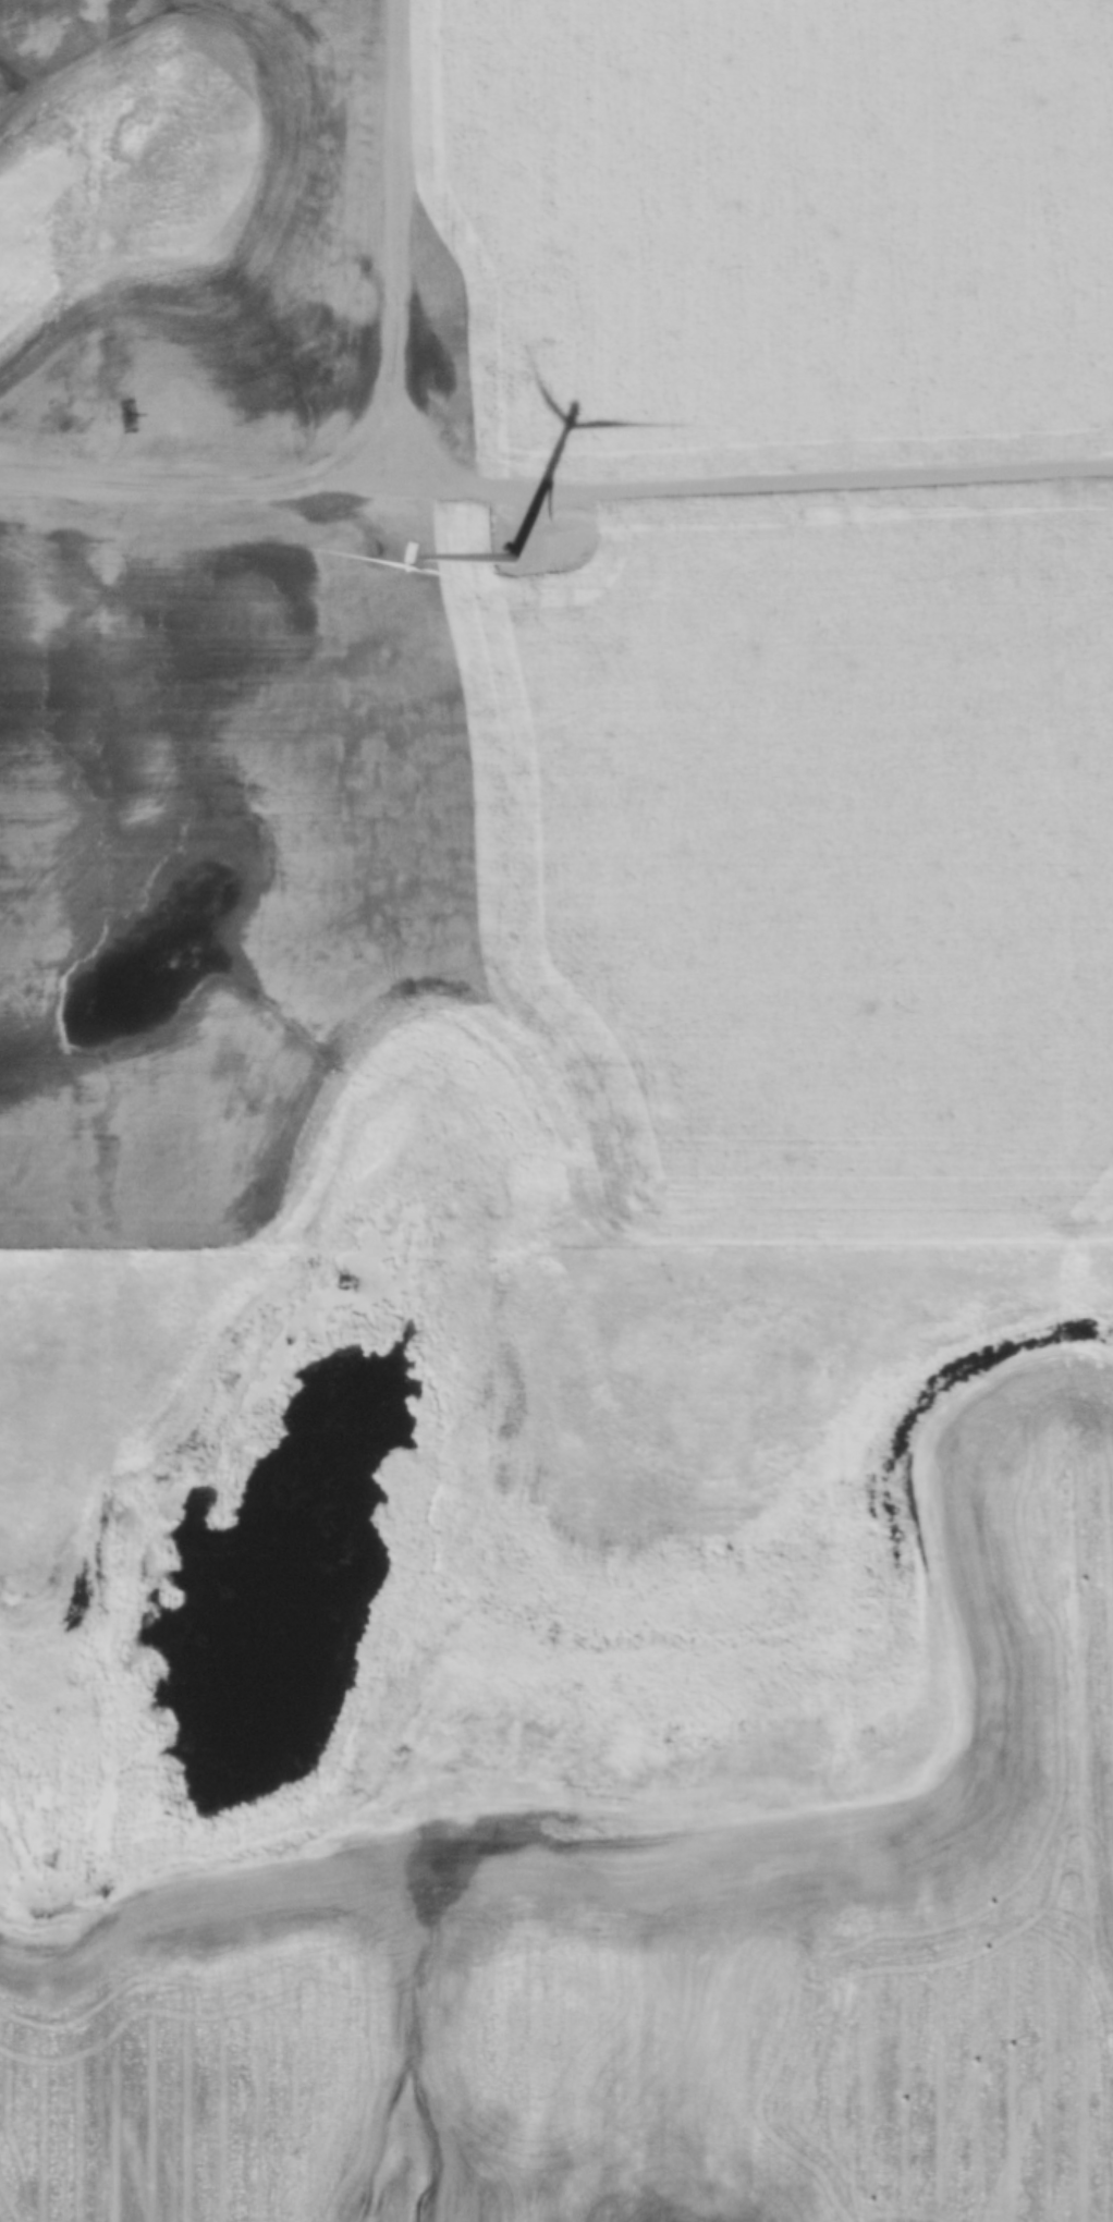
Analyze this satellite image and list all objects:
wind turbine: (511, 555)

